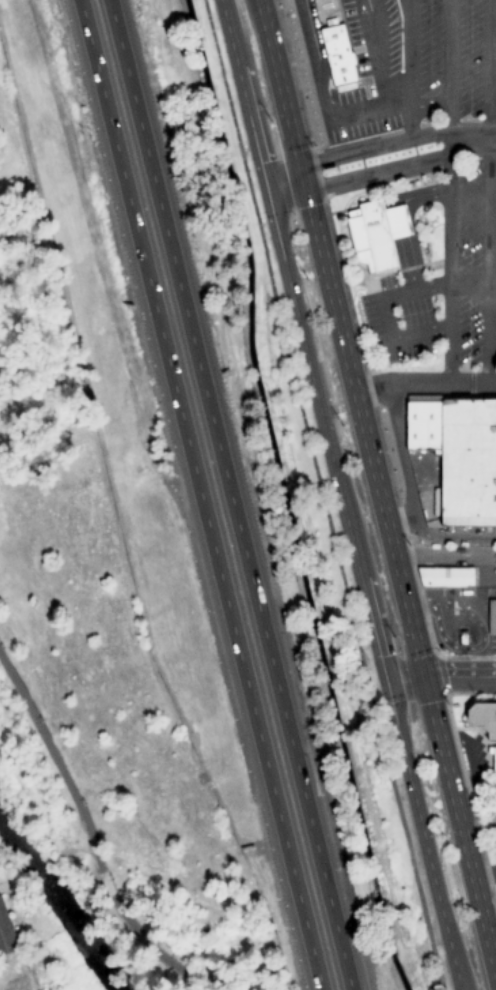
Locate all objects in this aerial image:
road: (369, 11)
parking lot: (389, 36)
road: (383, 52)
parking lot: (453, 53)
parking lot: (368, 55)
road: (321, 59)
building: (337, 59)
road: (407, 69)
road: (388, 106)
road: (379, 146)
road: (383, 171)
road: (449, 191)
road: (488, 192)
road: (422, 195)
road: (397, 221)
building: (396, 222)
building: (369, 236)
road: (408, 265)
parking lot: (472, 265)
road: (380, 316)
parking lot: (416, 316)
road: (425, 383)
building: (457, 453)
road: (402, 466)
road: (377, 479)
road: (230, 494)
road: (342, 494)
road: (199, 495)
road: (321, 495)
building: (444, 577)
building: (491, 617)
building: (460, 639)
road: (480, 643)
street lamp: (2, 648)
road: (441, 676)
building: (482, 719)
street lamp: (41, 721)
road: (57, 763)
building: (493, 766)
street lamp: (84, 803)
street lamp: (111, 879)
road: (105, 885)
river: (57, 902)
road: (113, 902)
road: (118, 910)
building: (6, 933)
street lamp: (174, 960)
road: (164, 961)

